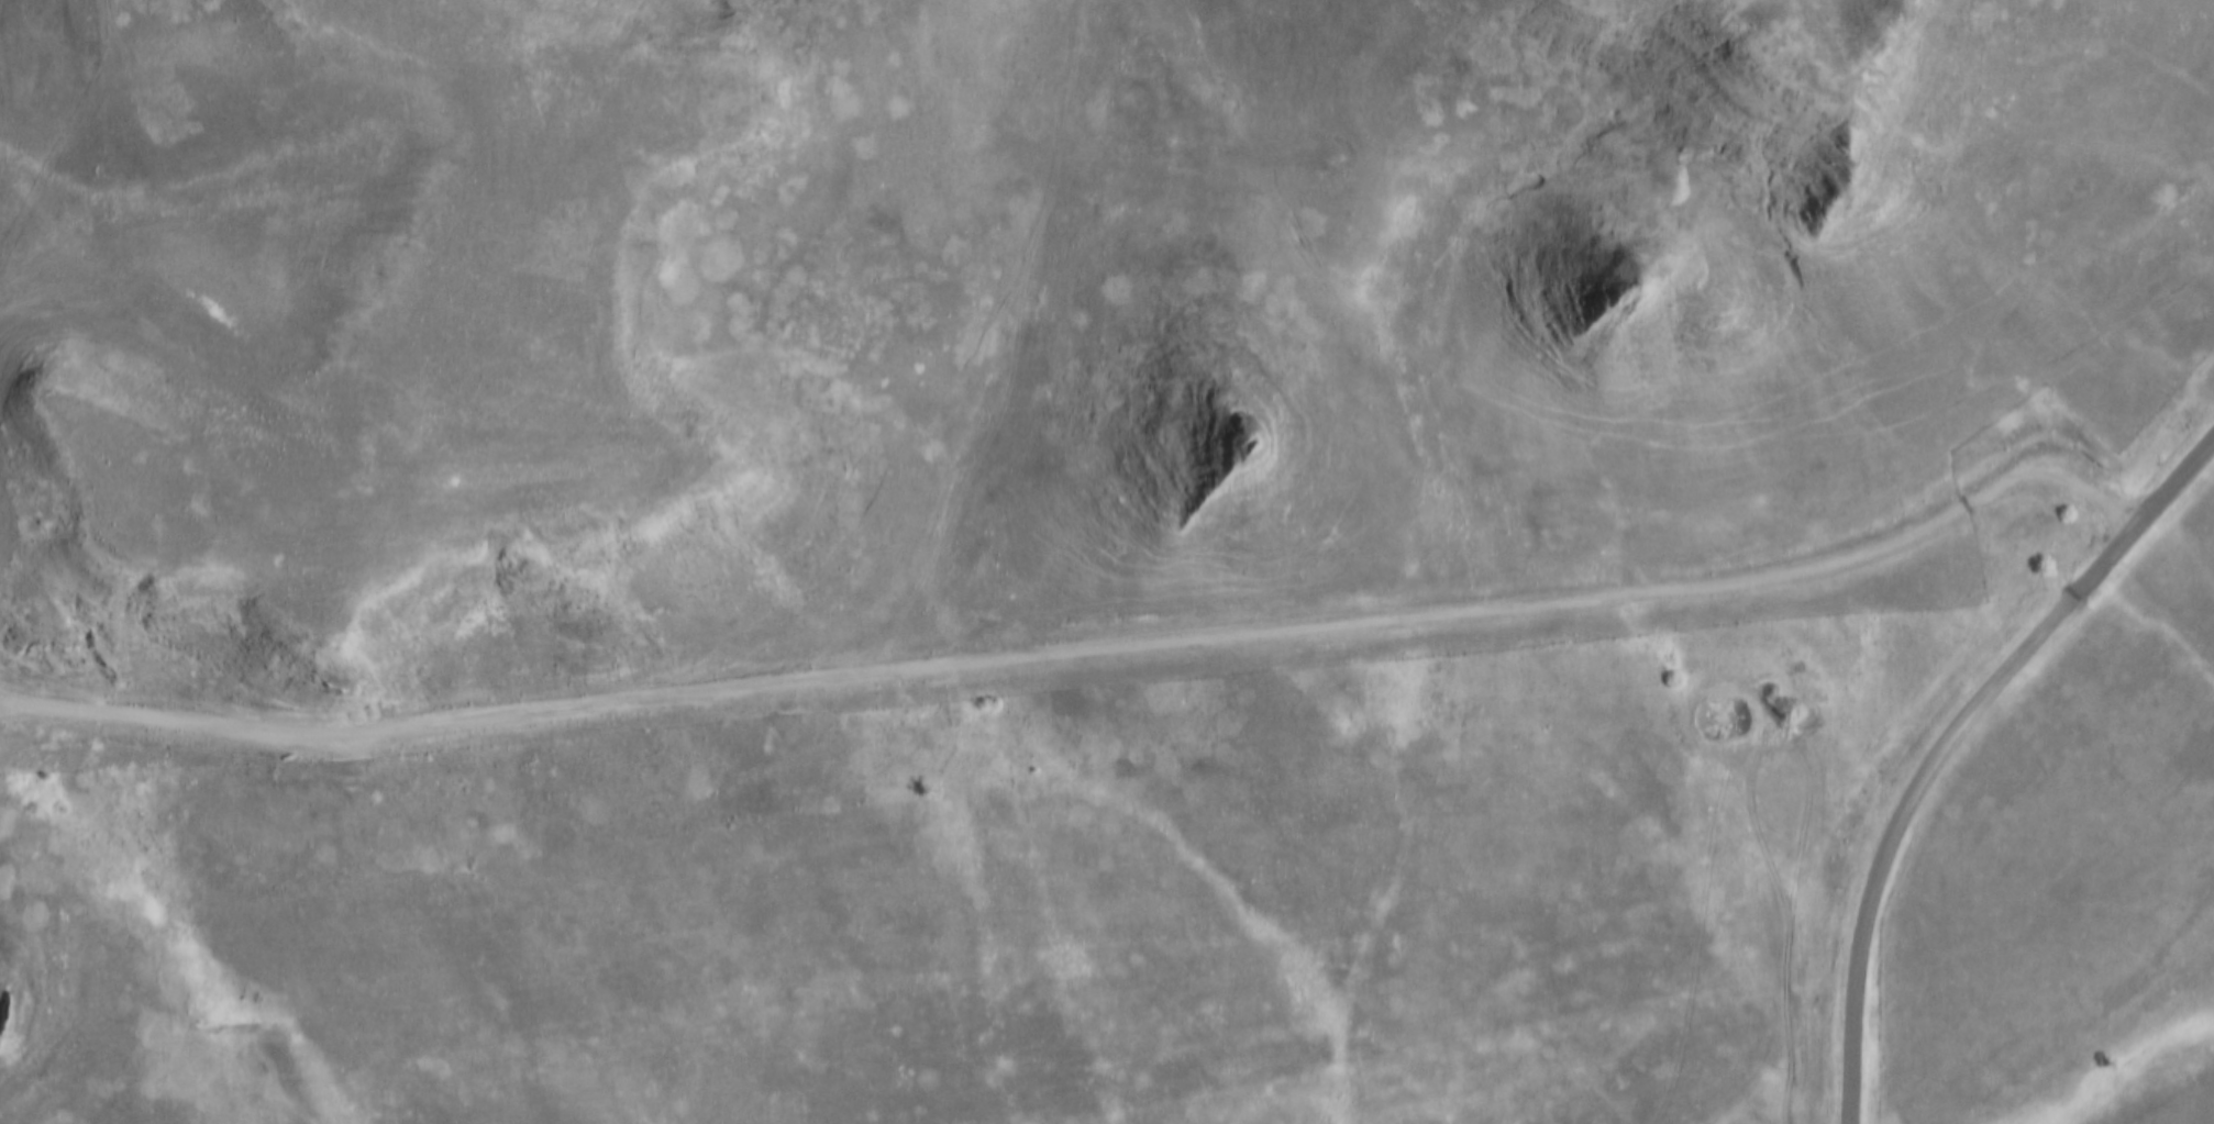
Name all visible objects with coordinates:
road: (1952, 746)
road: (1794, 934)

